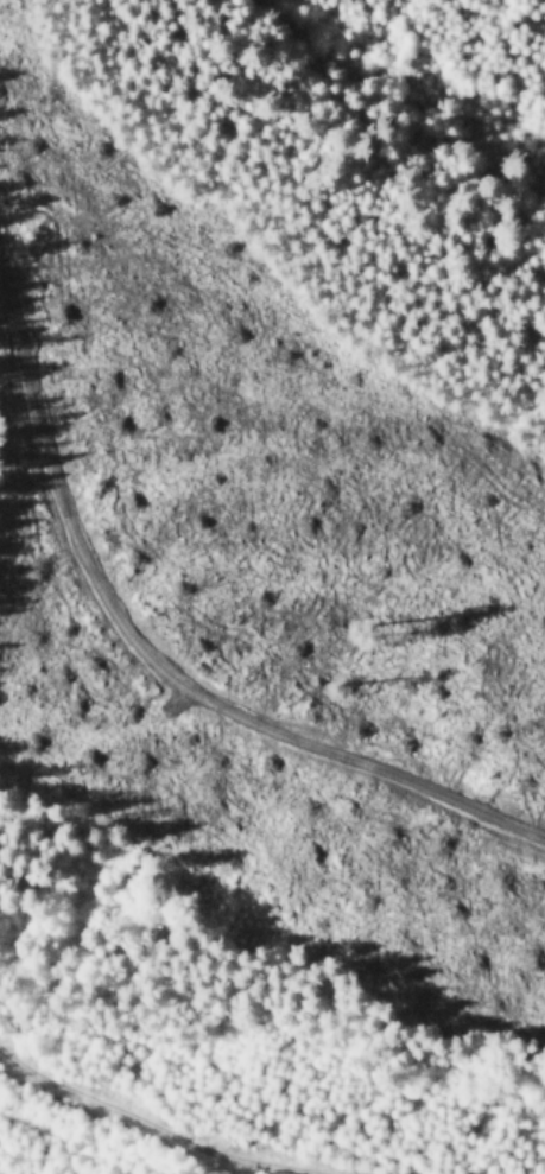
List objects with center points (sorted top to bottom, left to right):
road: (159, 546)
road: (131, 744)

